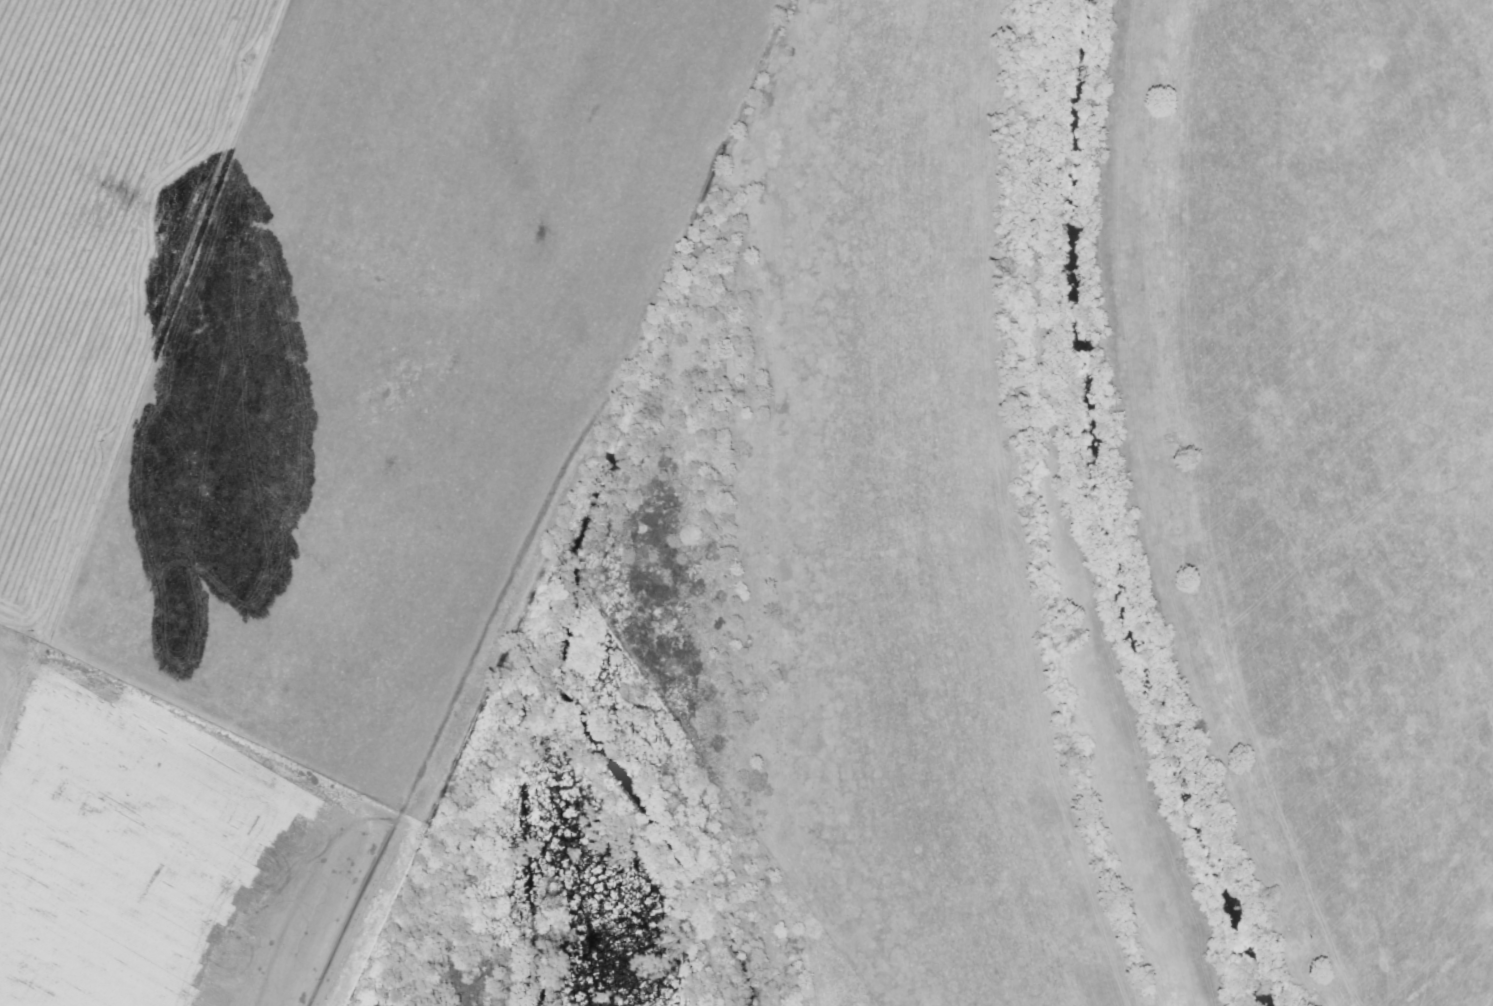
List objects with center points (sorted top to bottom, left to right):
road: (132, 374)

